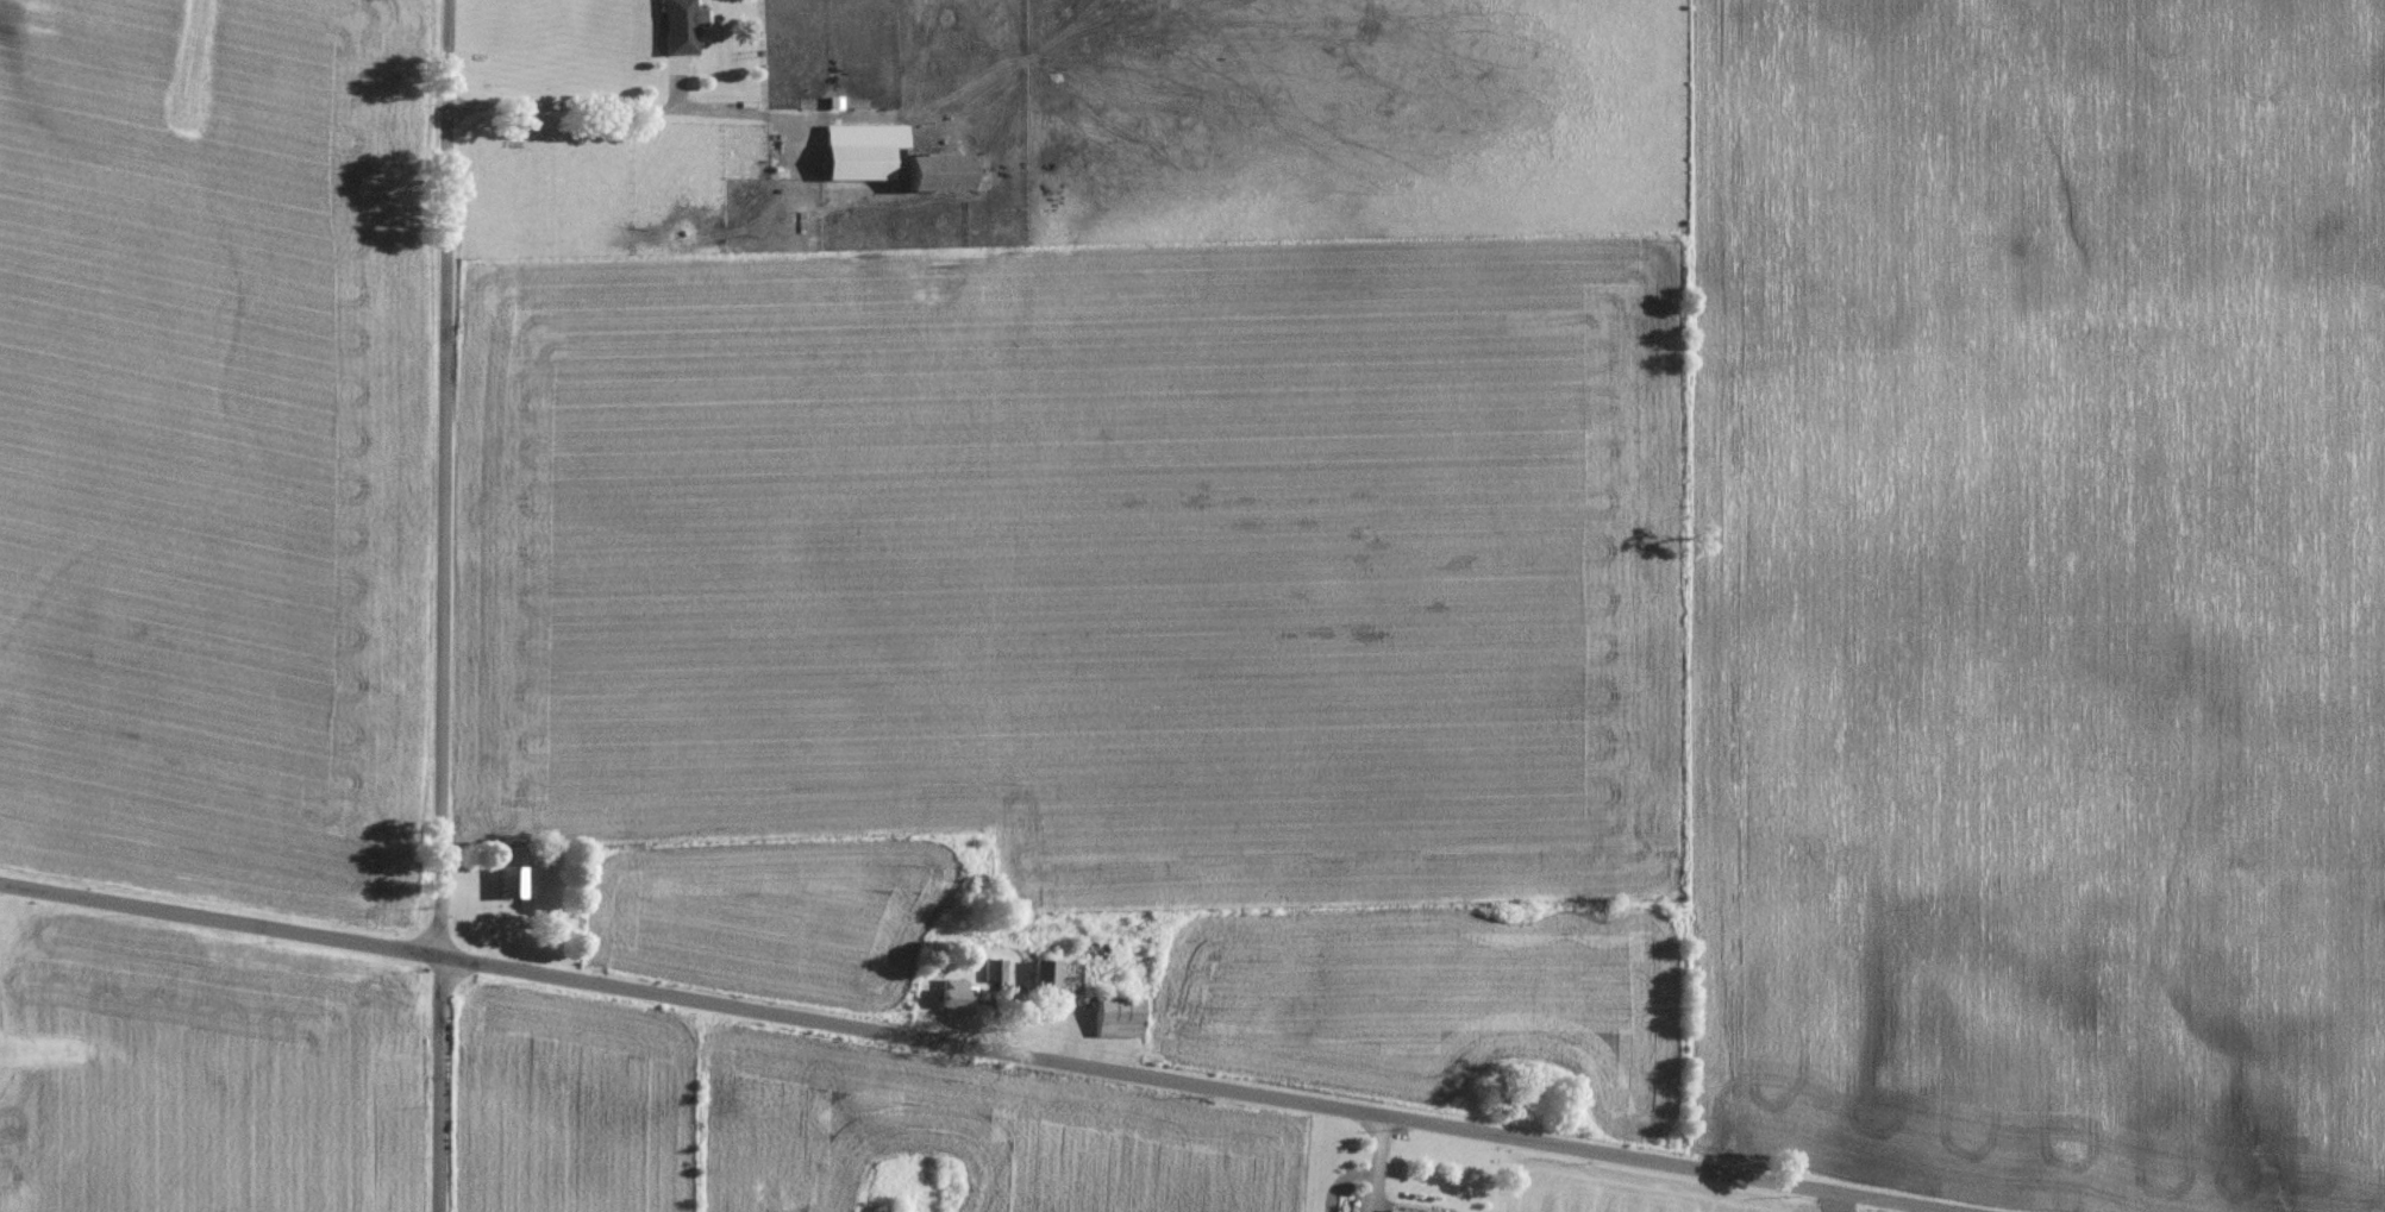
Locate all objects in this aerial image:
building: (675, 26)
road: (589, 106)
building: (856, 150)
building: (927, 171)
road: (443, 605)
building: (506, 881)
road: (219, 917)
building: (1050, 975)
building: (946, 993)
building: (1115, 1016)
road: (1196, 1085)
building: (1396, 1211)

